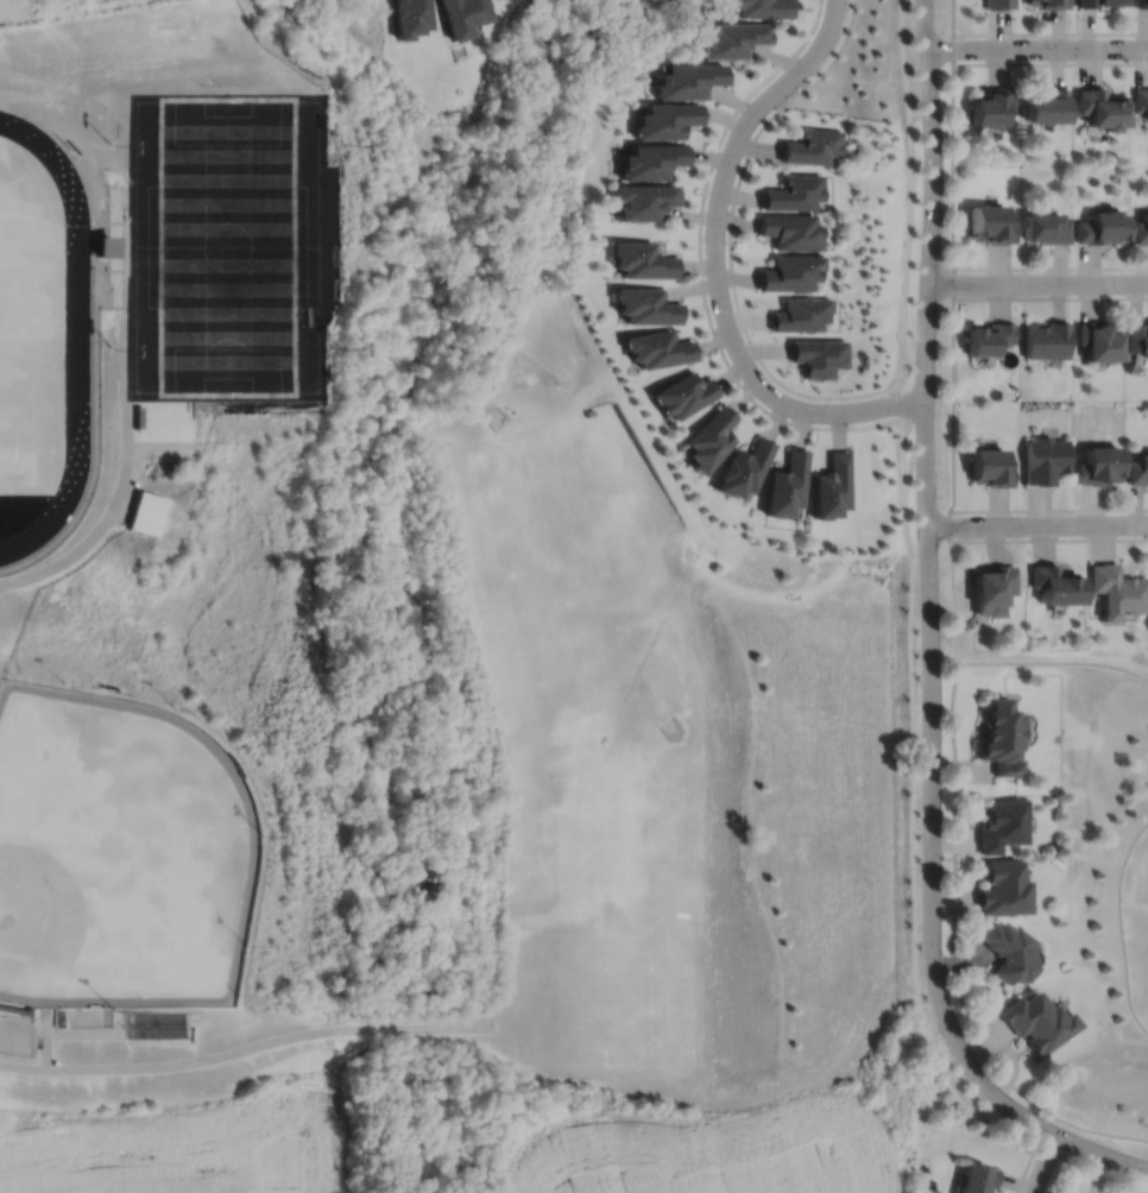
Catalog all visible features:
building: (502, 0)
building: (1048, 4)
building: (1100, 4)
building: (1141, 4)
building: (998, 5)
building: (763, 8)
building: (463, 15)
building: (409, 17)
road: (953, 18)
road: (1051, 33)
street lamp: (1020, 37)
building: (736, 39)
road: (1036, 48)
street lamp: (1131, 59)
road: (1049, 63)
street lamp: (939, 72)
street lamp: (813, 74)
building: (692, 77)
building: (1141, 99)
building: (991, 105)
building: (1048, 105)
building: (1102, 106)
building: (668, 118)
building: (812, 145)
building: (652, 158)
street lamp: (707, 191)
building: (795, 191)
building: (645, 198)
street lamp: (946, 204)
building: (991, 222)
building: (1047, 226)
building: (1104, 226)
building: (1141, 228)
building: (793, 229)
road: (699, 236)
building: (95, 246)
park: (225, 247)
building: (643, 259)
road: (715, 264)
road: (1049, 267)
building: (793, 271)
street lamp: (1018, 271)
road: (953, 276)
road: (732, 279)
road: (1039, 283)
street lamp: (1124, 295)
road: (1051, 298)
building: (646, 304)
street lamp: (941, 304)
street lamp: (712, 311)
building: (802, 314)
park: (548, 335)
building: (1137, 336)
track: (74, 337)
building: (989, 337)
park: (17, 339)
building: (1047, 340)
building: (1100, 340)
building: (658, 347)
building: (819, 356)
park: (531, 374)
building: (685, 393)
street lamp: (809, 399)
street lamp: (935, 412)
building: (711, 438)
building: (1046, 459)
building: (1100, 465)
building: (991, 466)
building: (746, 468)
building: (1138, 468)
building: (788, 484)
building: (832, 486)
park: (551, 487)
road: (1048, 510)
building: (145, 512)
street lamp: (1070, 512)
street lamp: (957, 513)
road: (1036, 524)
road: (947, 526)
road: (1048, 539)
building: (1056, 585)
building: (992, 588)
building: (1117, 591)
street lamp: (940, 608)
road: (929, 640)
park: (619, 662)
road: (1052, 662)
building: (1001, 738)
street lamp: (944, 739)
building: (1002, 826)
park: (116, 854)
street lamp: (944, 859)
park: (1100, 860)
building: (1003, 889)
road: (954, 895)
park: (598, 914)
road: (1121, 927)
building: (1009, 949)
street lamp: (958, 1016)
building: (1037, 1020)
road: (45, 1037)
road: (246, 1048)
road: (971, 1106)
street lamp: (1032, 1134)
road: (1051, 1147)
crop: (181, 1148)
crop: (713, 1150)
road: (1043, 1163)
road: (1027, 1166)
road: (1102, 1170)
road: (1055, 1174)
building: (976, 1178)
street lamp: (1147, 1182)

